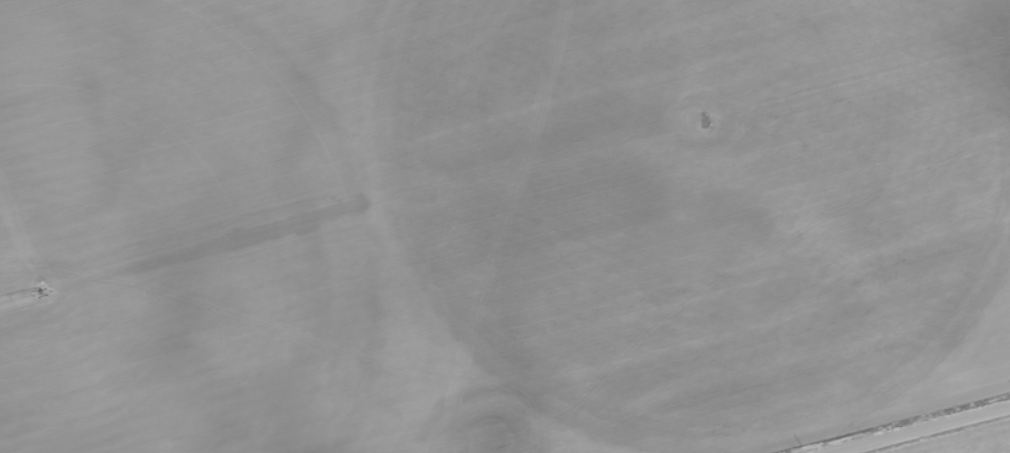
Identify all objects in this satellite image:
road: (911, 428)

